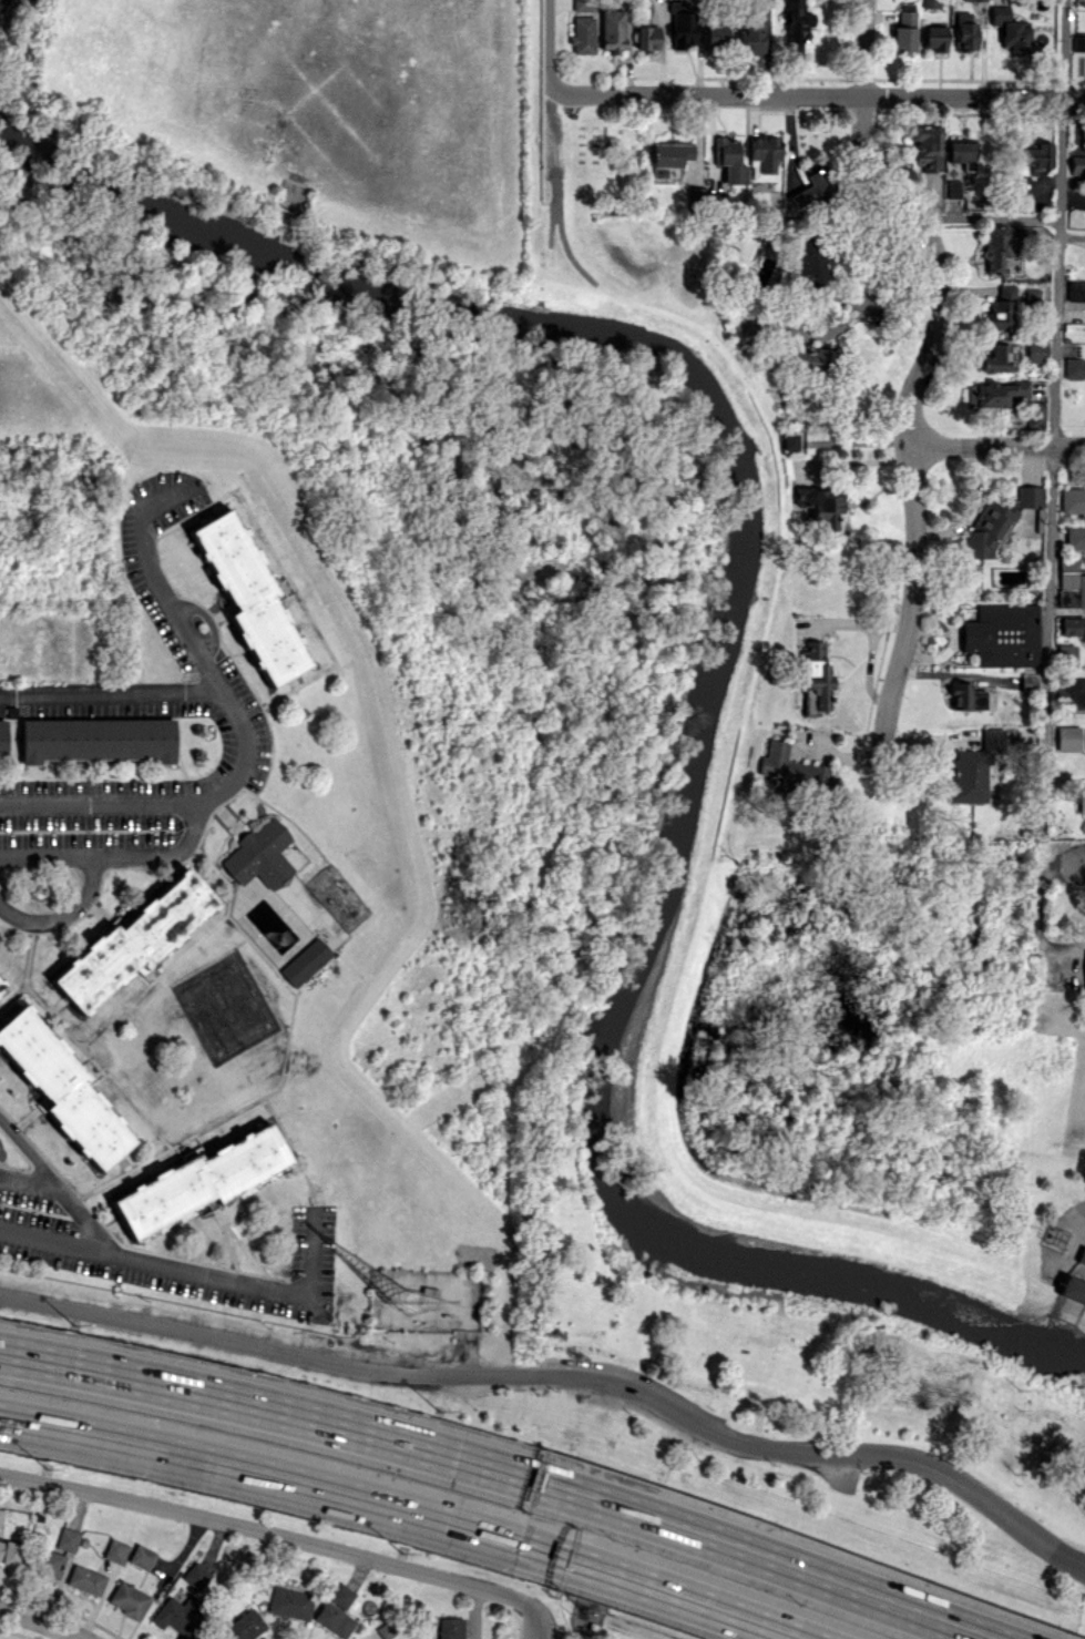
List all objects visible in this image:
building: (976, 0)
building: (583, 4)
building: (680, 23)
building: (795, 28)
building: (612, 30)
building: (1010, 30)
building: (904, 31)
building: (965, 31)
building: (583, 34)
building: (715, 34)
building: (646, 37)
building: (750, 37)
building: (934, 37)
building: (1078, 42)
road: (546, 45)
road: (819, 94)
road: (550, 125)
building: (925, 145)
building: (961, 153)
building: (1036, 155)
building: (762, 156)
building: (729, 159)
building: (1077, 163)
building: (813, 184)
building: (695, 195)
building: (997, 246)
road: (878, 284)
building: (1075, 289)
building: (1001, 309)
building: (1036, 350)
building: (811, 357)
building: (995, 358)
building: (1074, 367)
road: (918, 370)
building: (993, 391)
building: (788, 440)
road: (994, 445)
road: (1052, 469)
building: (1030, 496)
building: (1072, 499)
building: (819, 506)
building: (989, 529)
building: (1075, 537)
building: (1067, 571)
building: (1081, 591)
building: (248, 597)
building: (1073, 627)
building: (1002, 634)
road: (196, 648)
river: (718, 668)
building: (815, 686)
road: (112, 692)
building: (965, 696)
building: (2, 737)
building: (1067, 737)
building: (95, 739)
building: (785, 765)
building: (974, 767)
building: (1082, 798)
road: (99, 804)
building: (259, 855)
road: (116, 856)
road: (61, 910)
building: (133, 941)
road: (1061, 947)
building: (305, 961)
building: (1, 986)
building: (62, 1088)
park: (560, 1149)
road: (28, 1177)
building: (199, 1181)
road: (60, 1185)
road: (1074, 1214)
road: (311, 1252)
building: (1081, 1254)
road: (153, 1261)
building: (1071, 1289)
building: (428, 1297)
road: (216, 1340)
road: (269, 1407)
road: (767, 1447)
road: (269, 1476)
building: (1, 1515)
road: (269, 1533)
building: (68, 1539)
building: (115, 1550)
building: (9, 1551)
building: (142, 1557)
road: (760, 1557)
building: (50, 1564)
building: (195, 1575)
building: (85, 1579)
road: (665, 1592)
building: (341, 1596)
building: (129, 1599)
building: (290, 1602)
road: (474, 1612)
building: (180, 1615)
building: (334, 1619)
road: (41, 1620)
road: (538, 1622)
building: (245, 1625)
building: (450, 1628)
building: (386, 1630)

